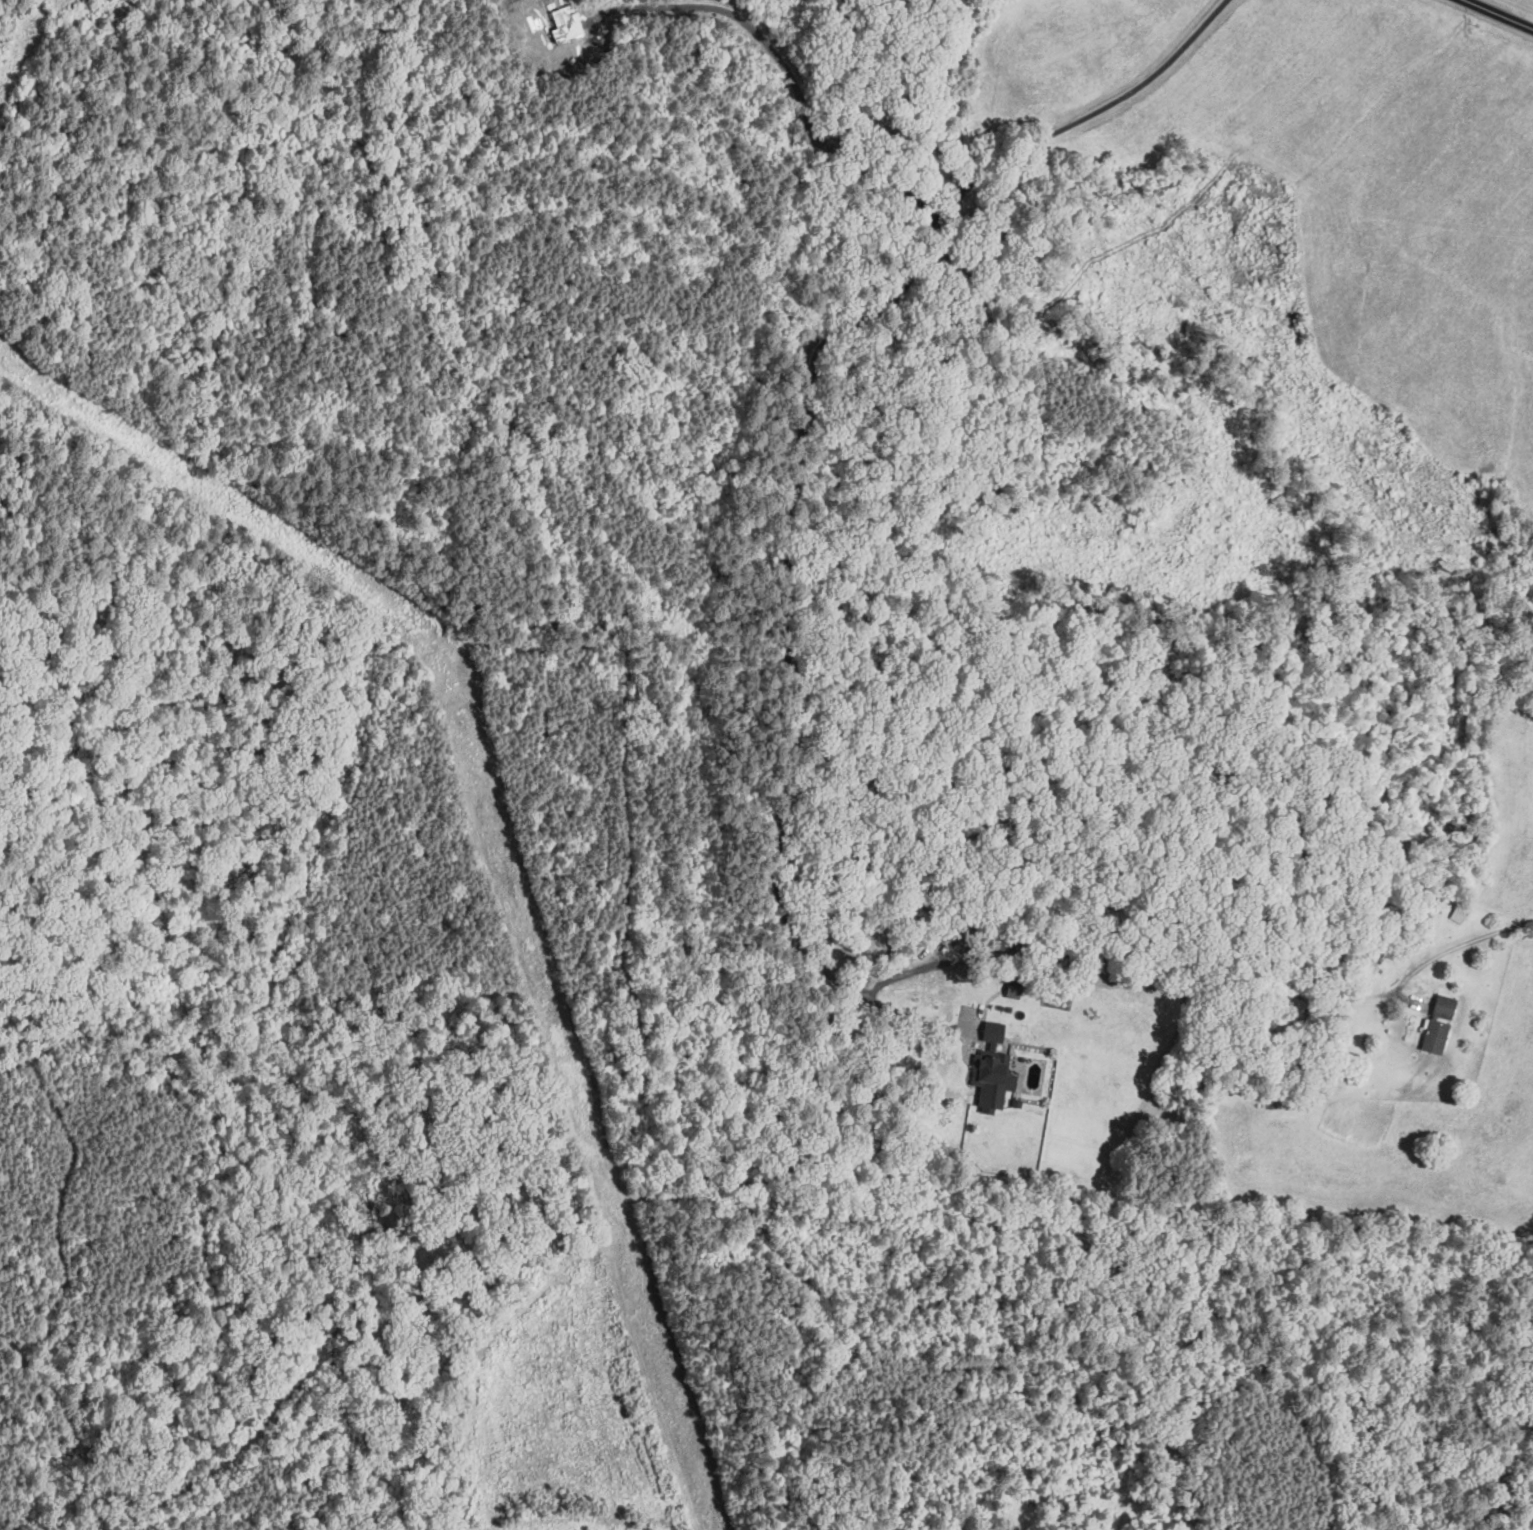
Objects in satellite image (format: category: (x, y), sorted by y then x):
road: (1500, 13)
road: (797, 470)
road: (1450, 950)
building: (1446, 1006)
building: (995, 1033)
building: (1437, 1037)

